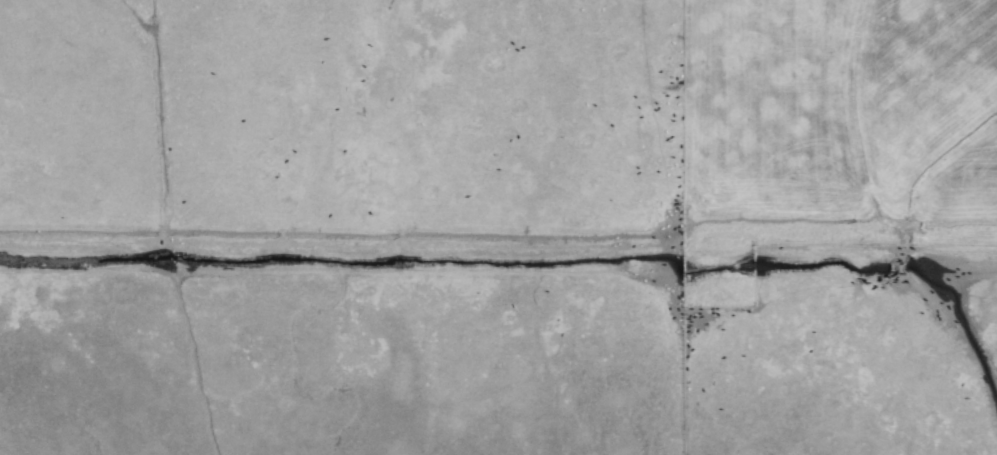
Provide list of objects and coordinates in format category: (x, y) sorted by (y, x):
crop: (498, 227)

